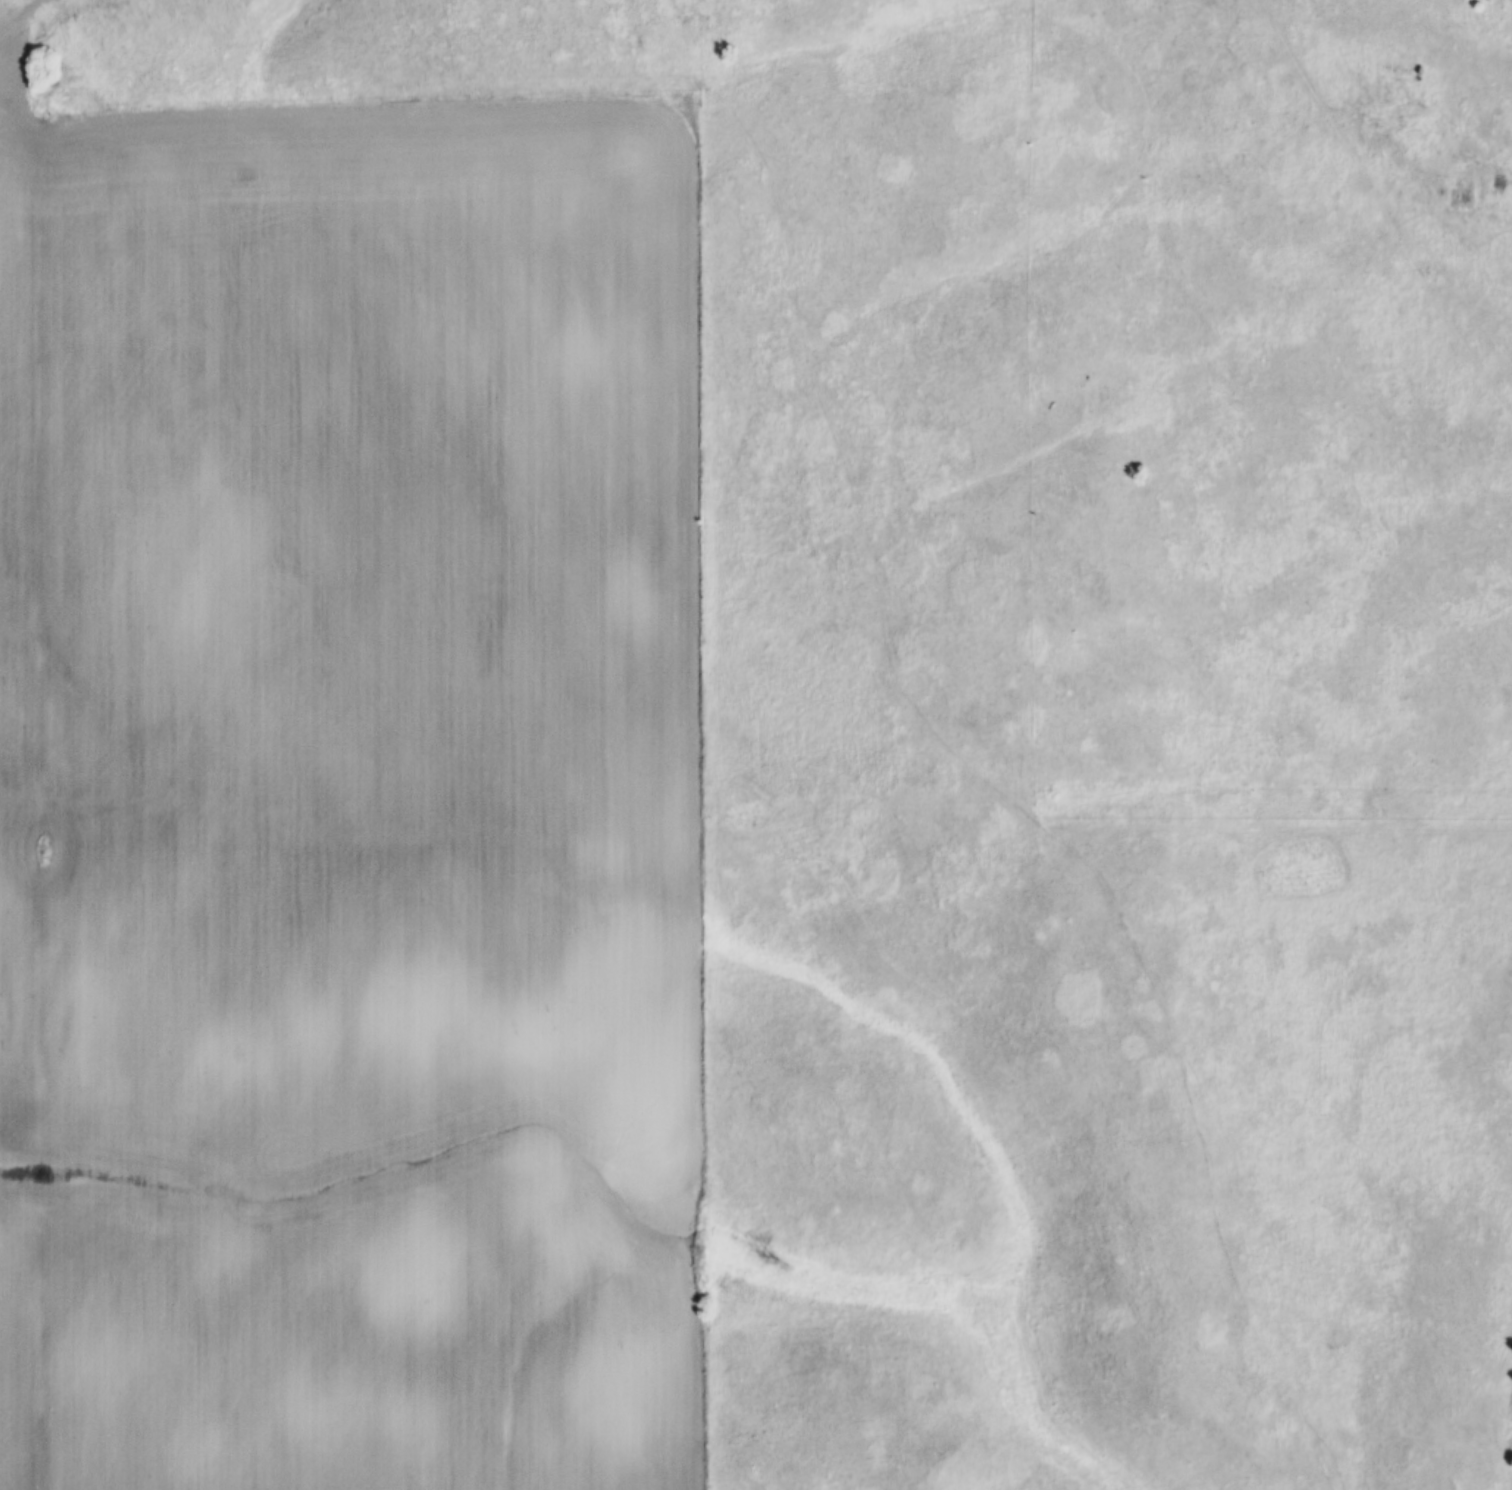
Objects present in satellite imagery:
road: (37, 847)

